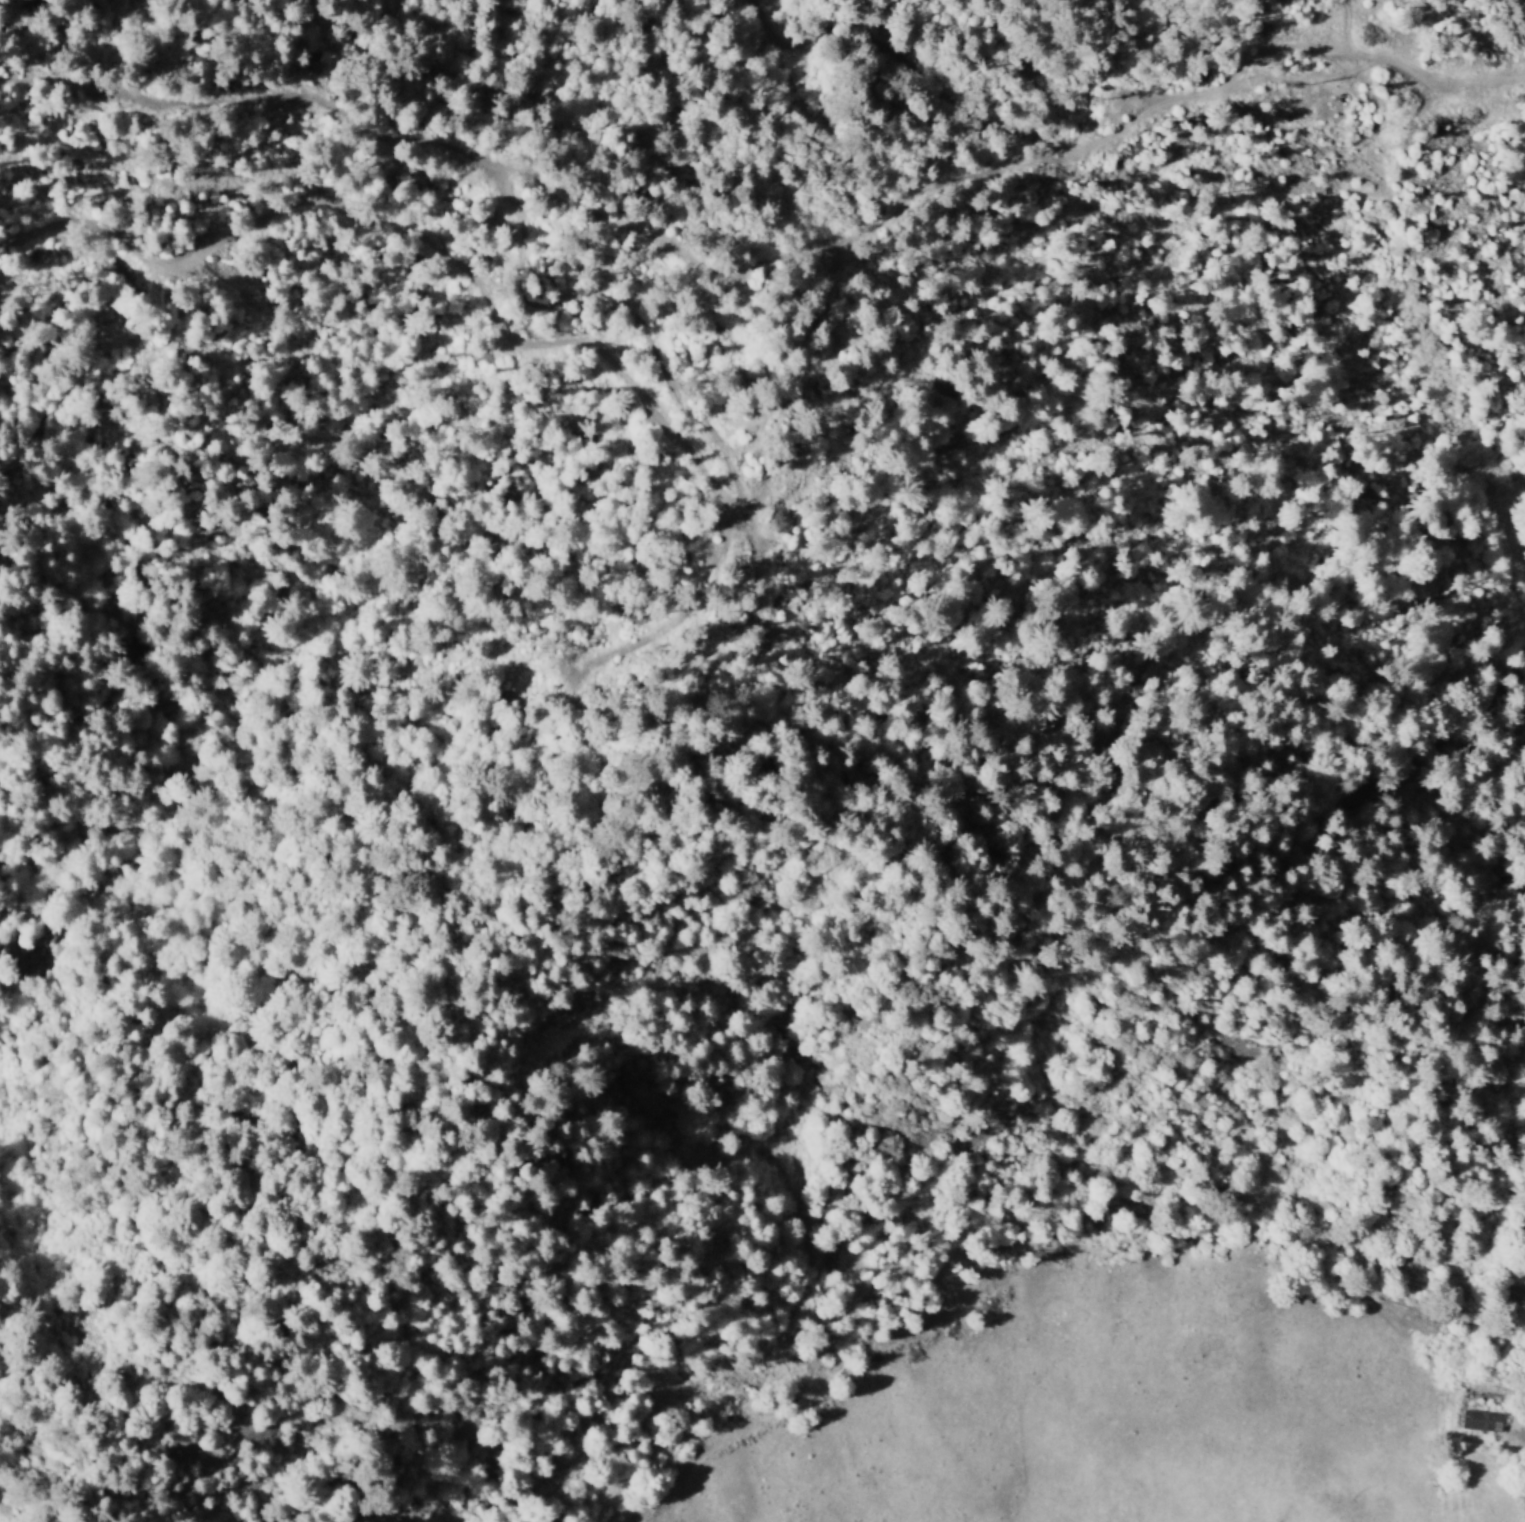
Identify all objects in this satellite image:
building: (1480, 1419)

